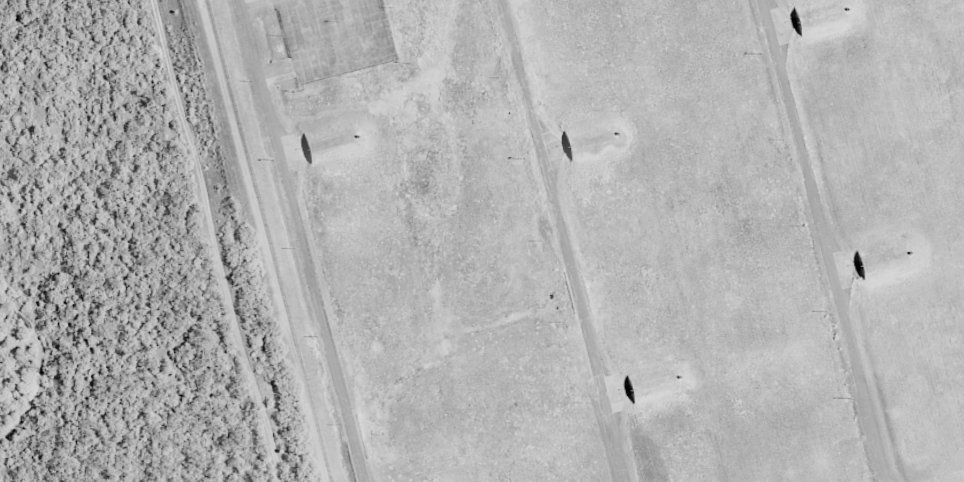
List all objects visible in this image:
road: (303, 240)
road: (563, 241)
road: (824, 241)

